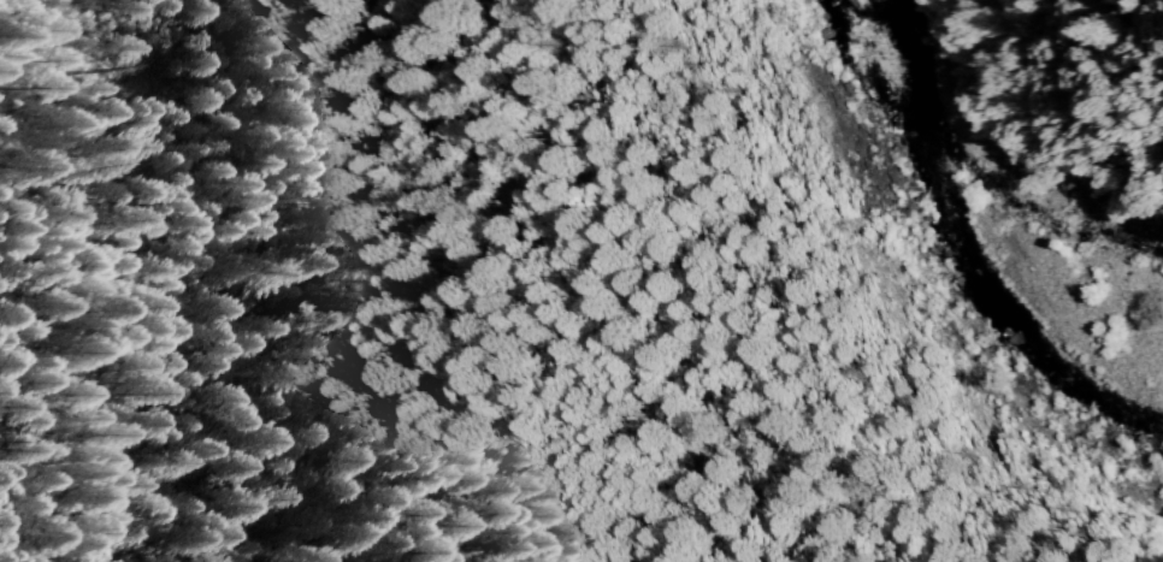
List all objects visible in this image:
road: (1122, 71)
river: (954, 259)
river: (952, 265)
park: (91, 314)

